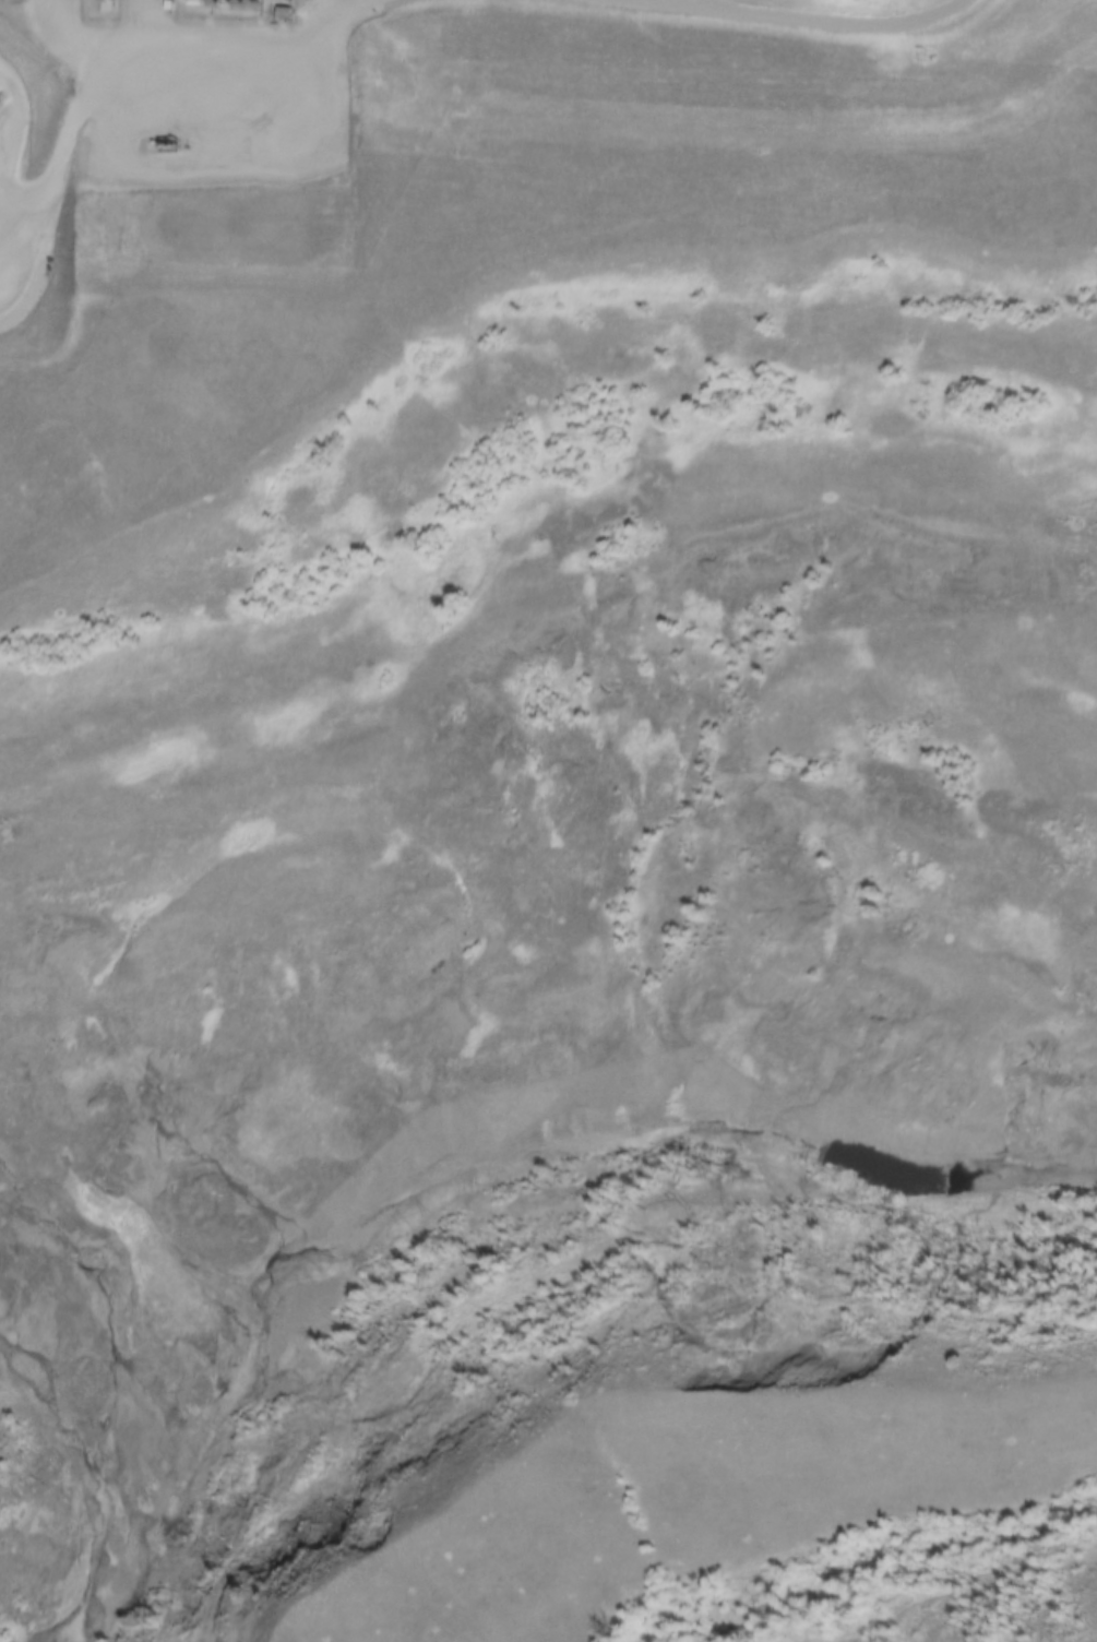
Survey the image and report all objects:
road: (909, 1)
road: (96, 45)

